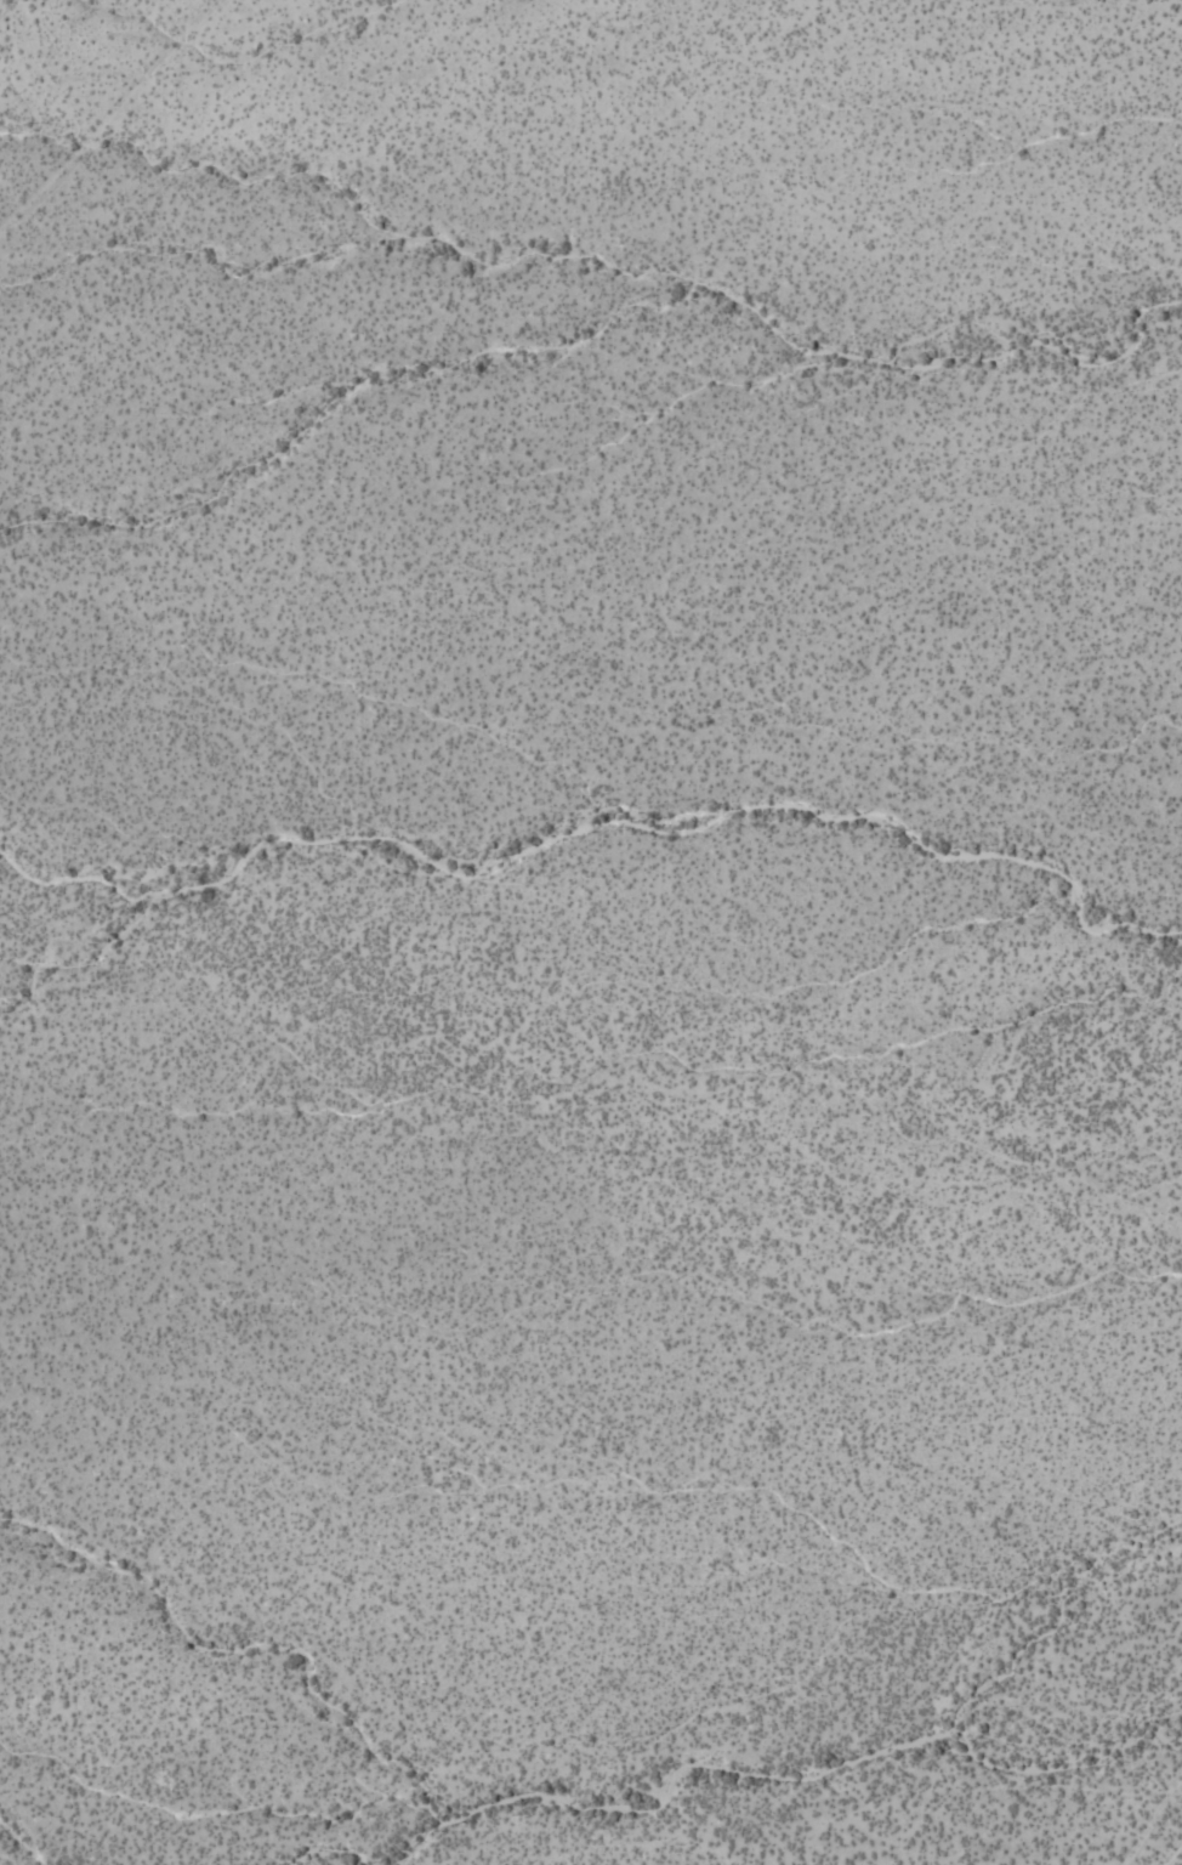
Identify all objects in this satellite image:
road: (1130, 1789)

